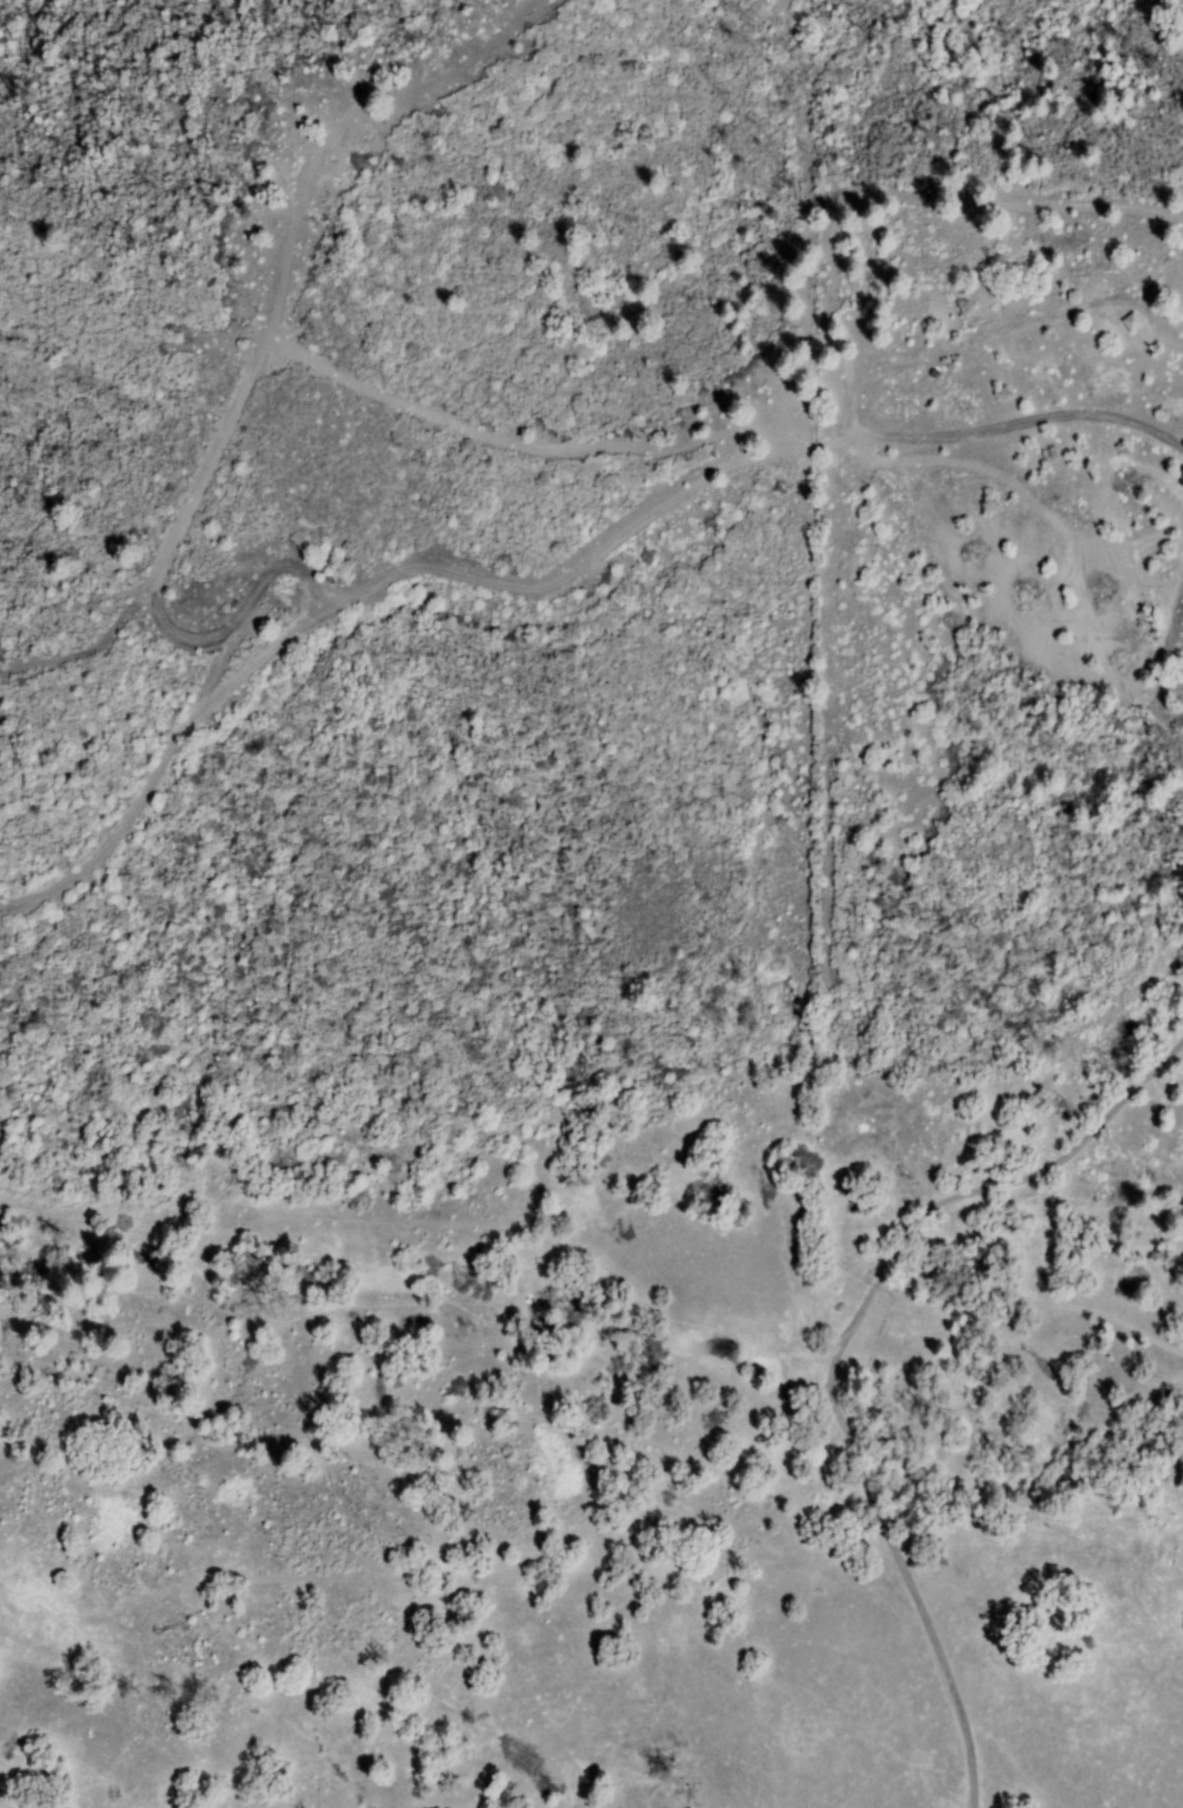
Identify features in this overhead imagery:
building: (1128, 323)
road: (274, 332)
road: (1020, 417)
road: (558, 438)
road: (1077, 1205)
road: (846, 1357)

